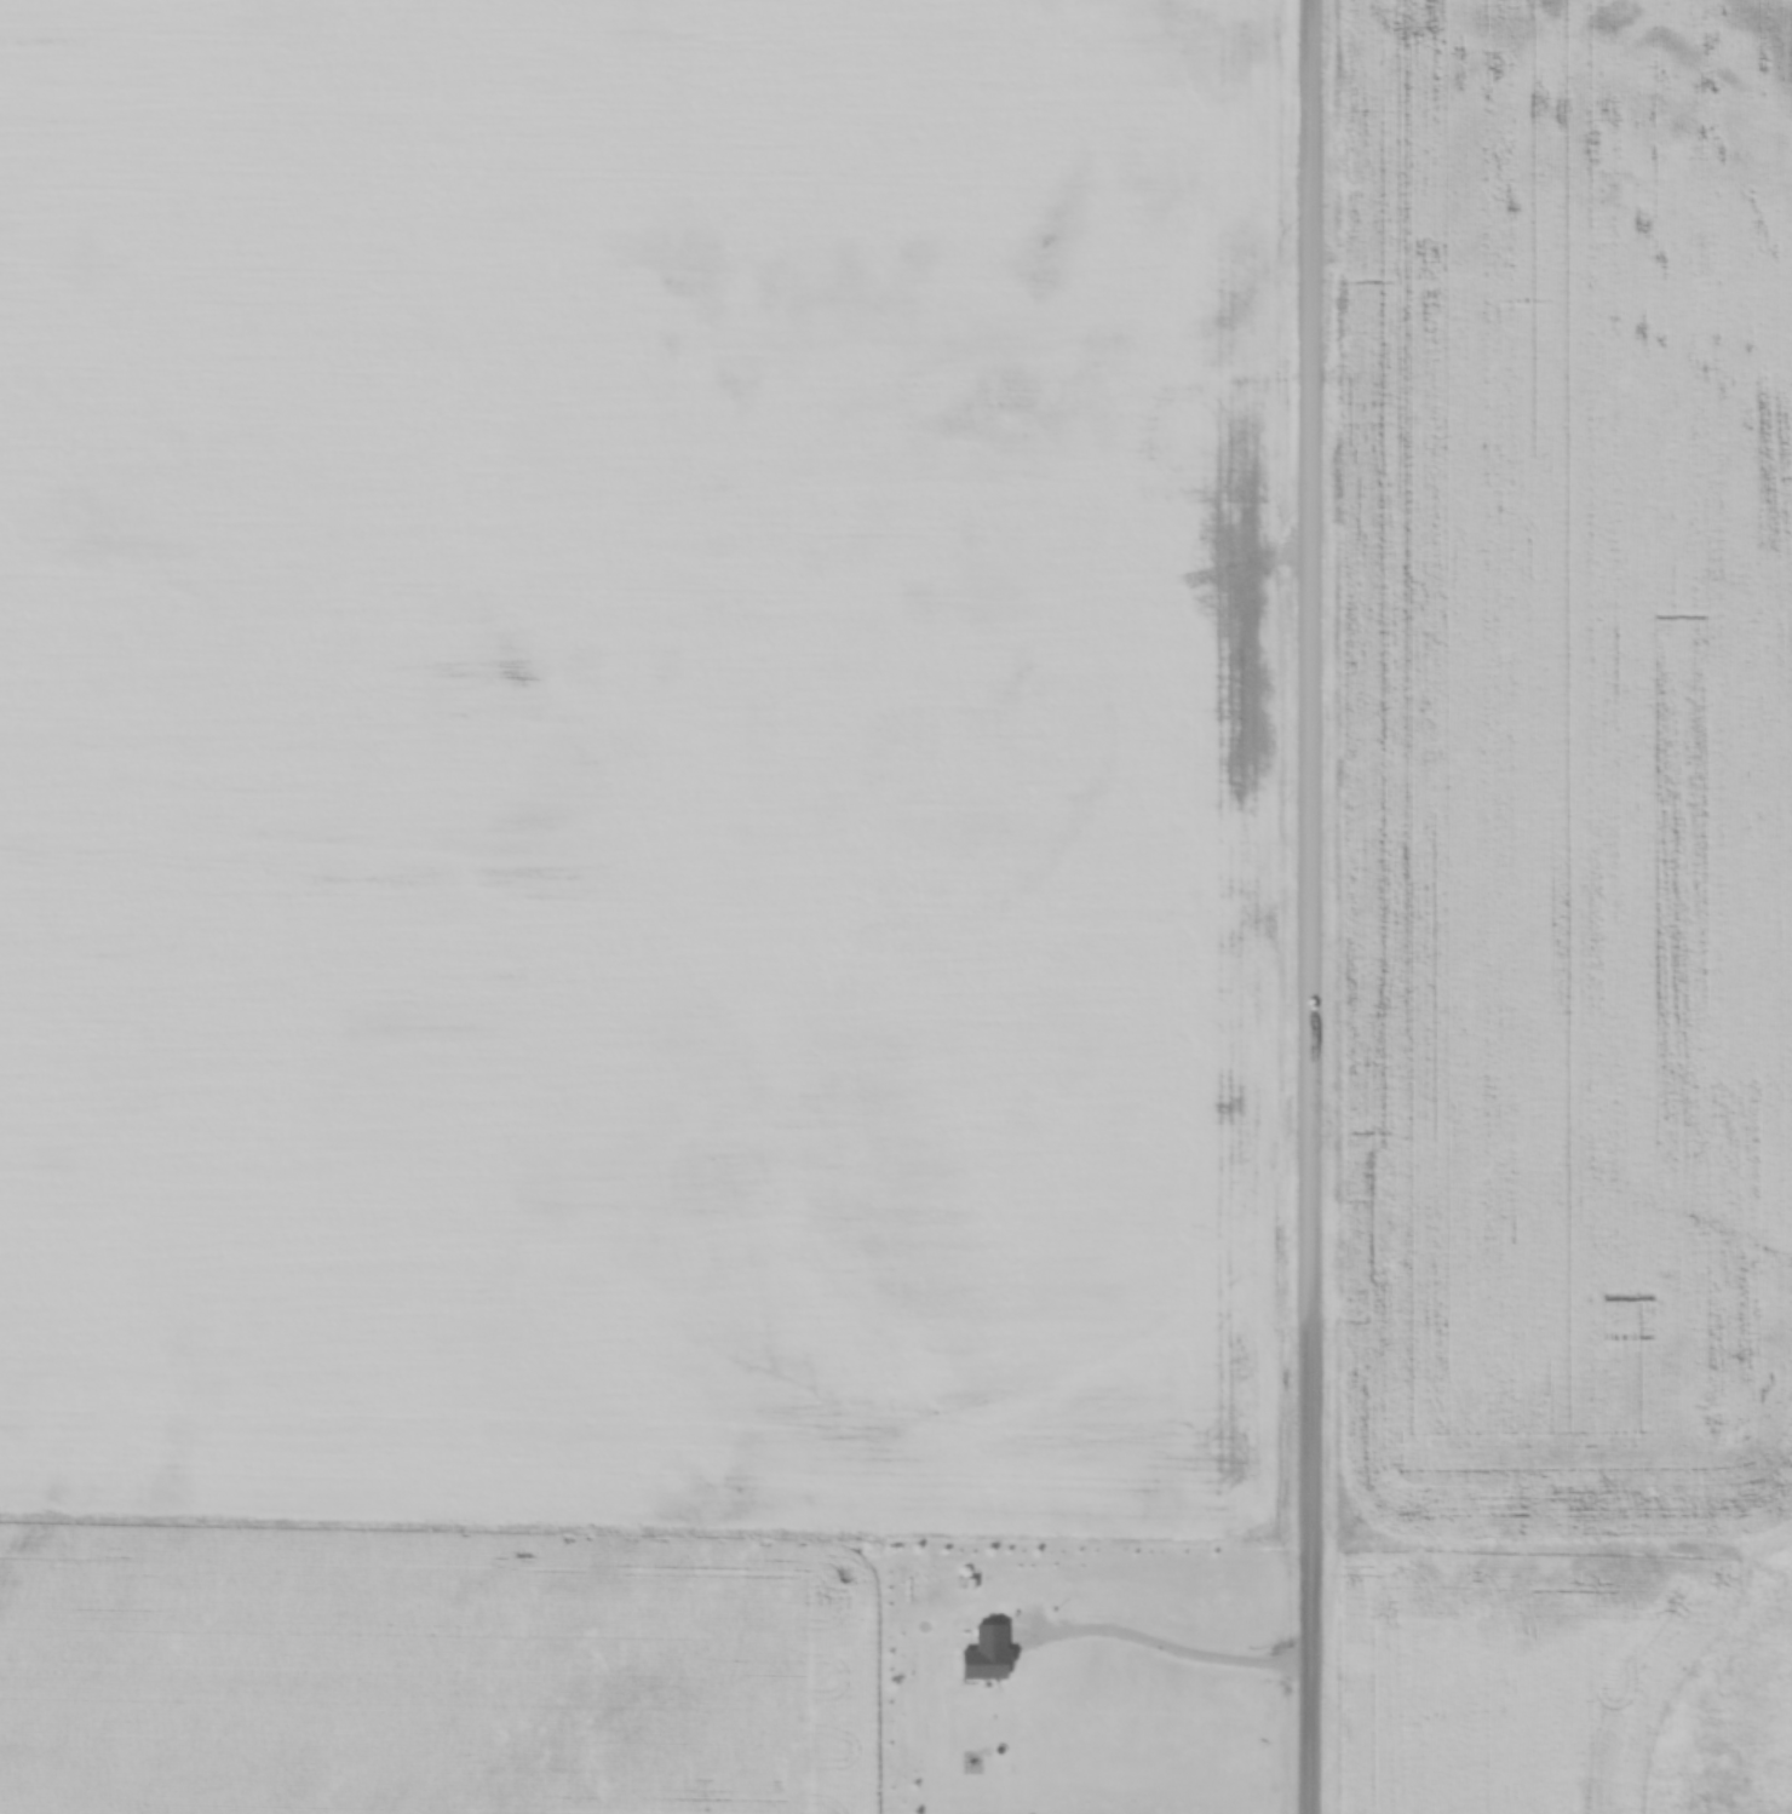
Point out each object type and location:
road: (1306, 906)

